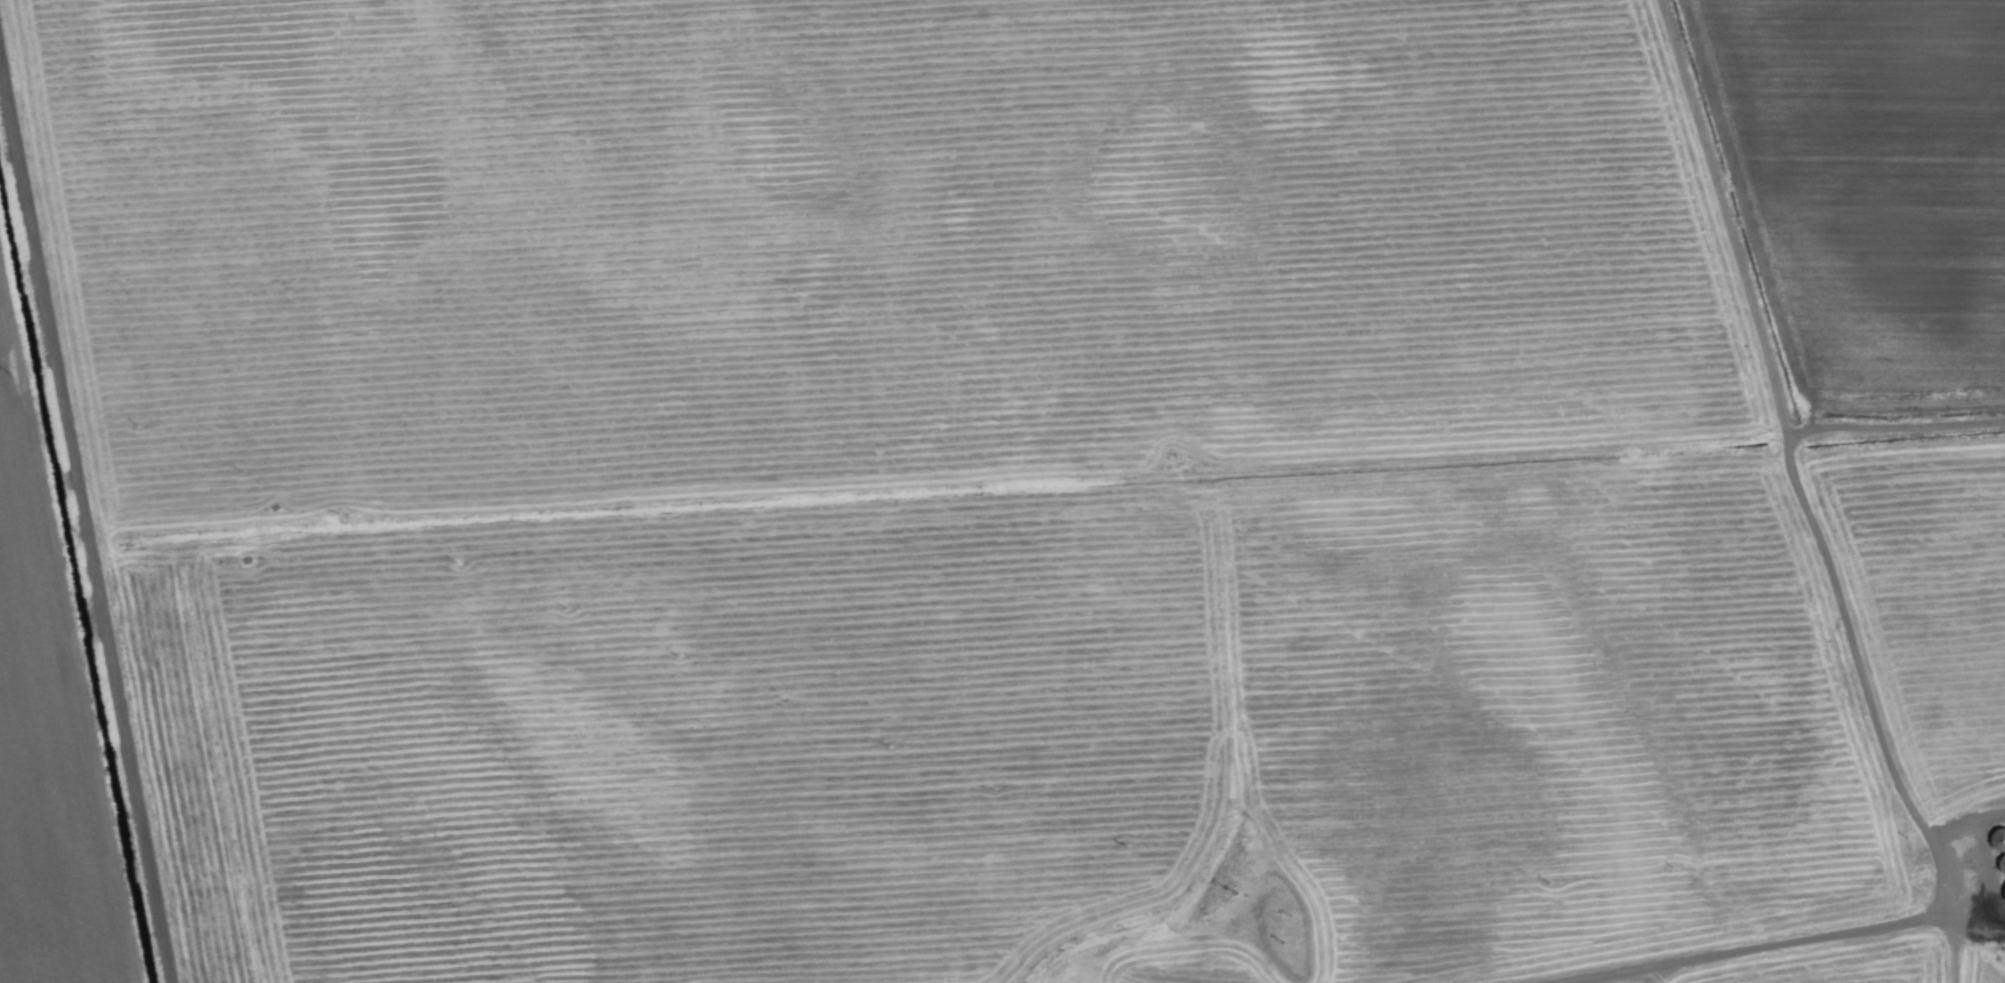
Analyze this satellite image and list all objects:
crop: (1002, 491)
road: (85, 517)
road: (1828, 577)
road: (1775, 946)

